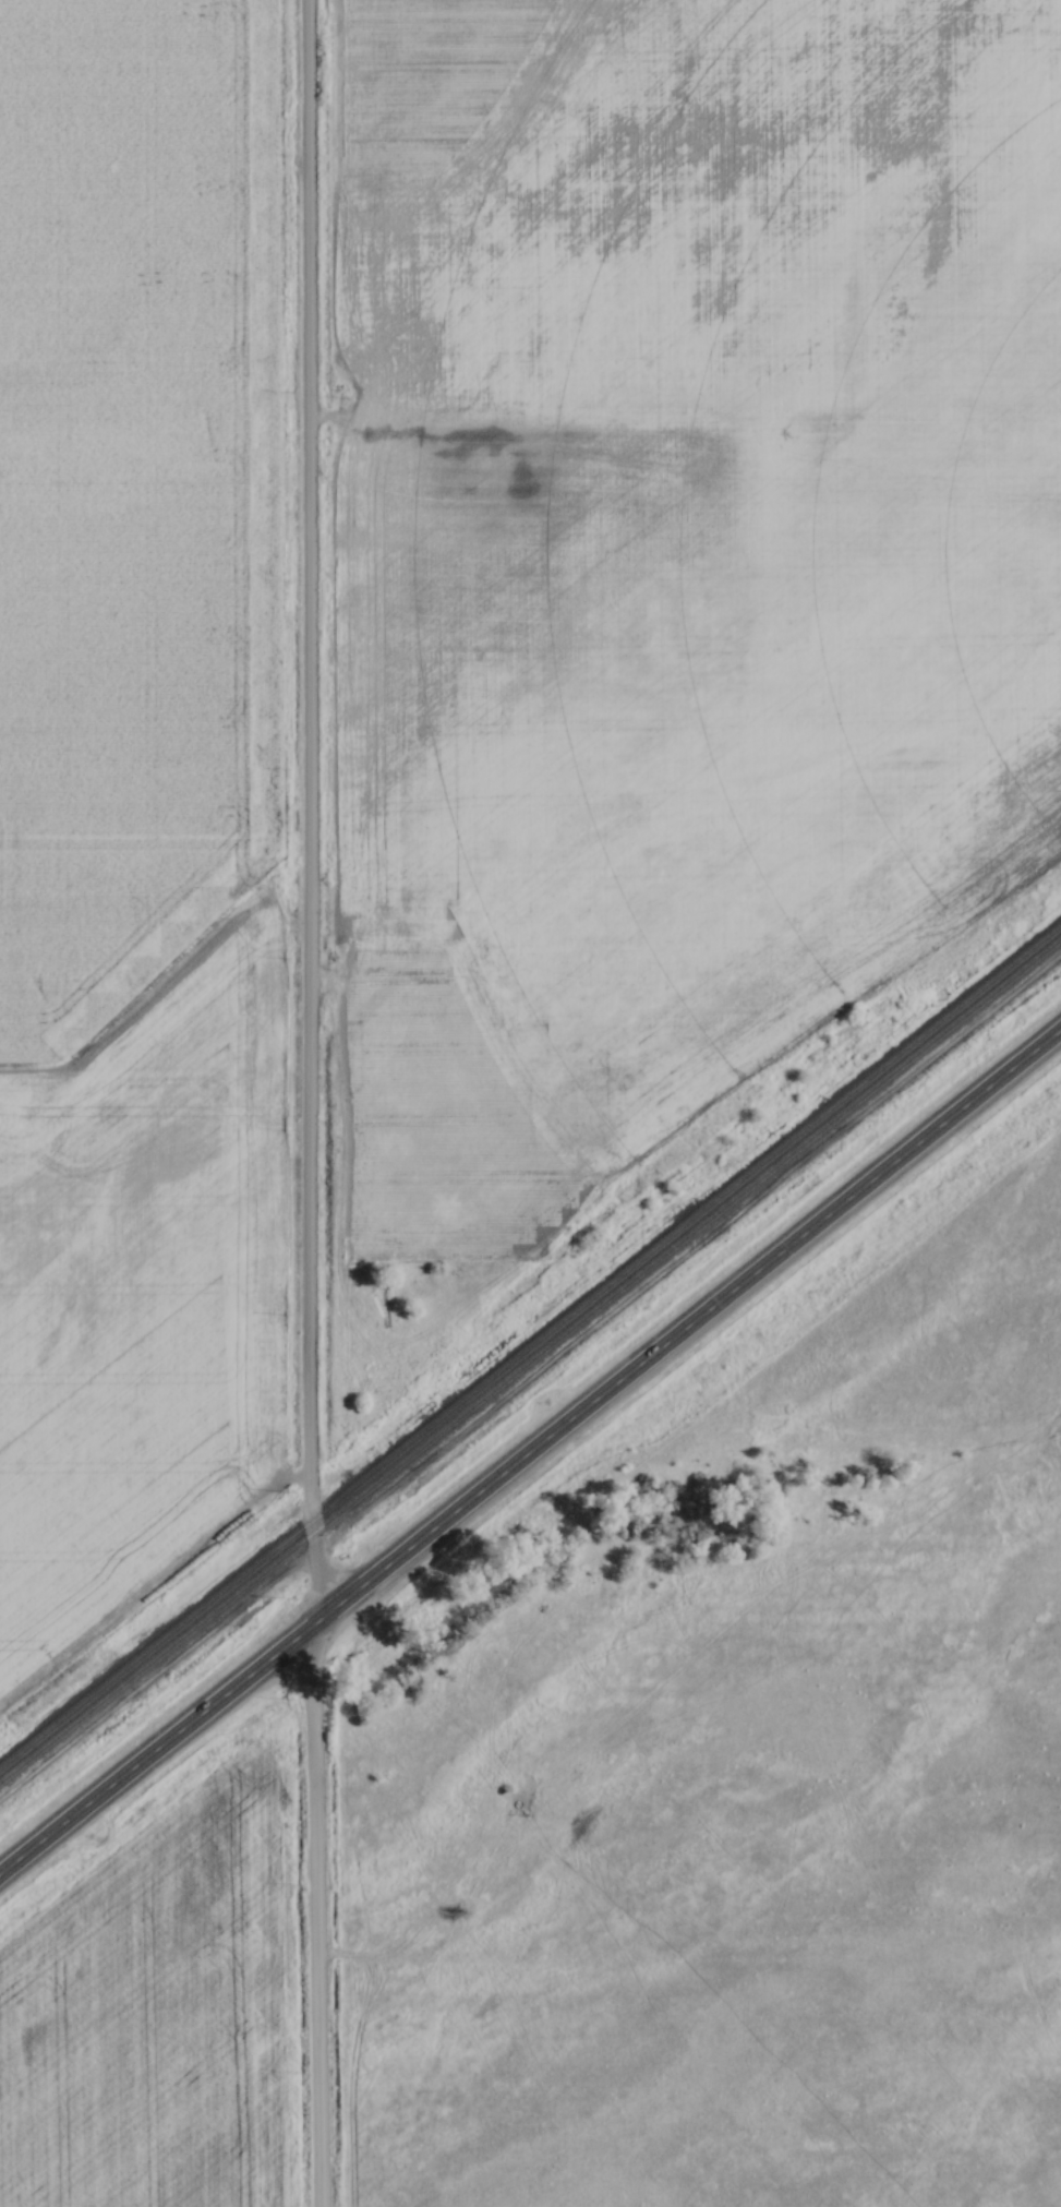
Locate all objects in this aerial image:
road: (308, 1103)
railway: (530, 1346)
railway: (530, 1359)
road: (529, 1452)

